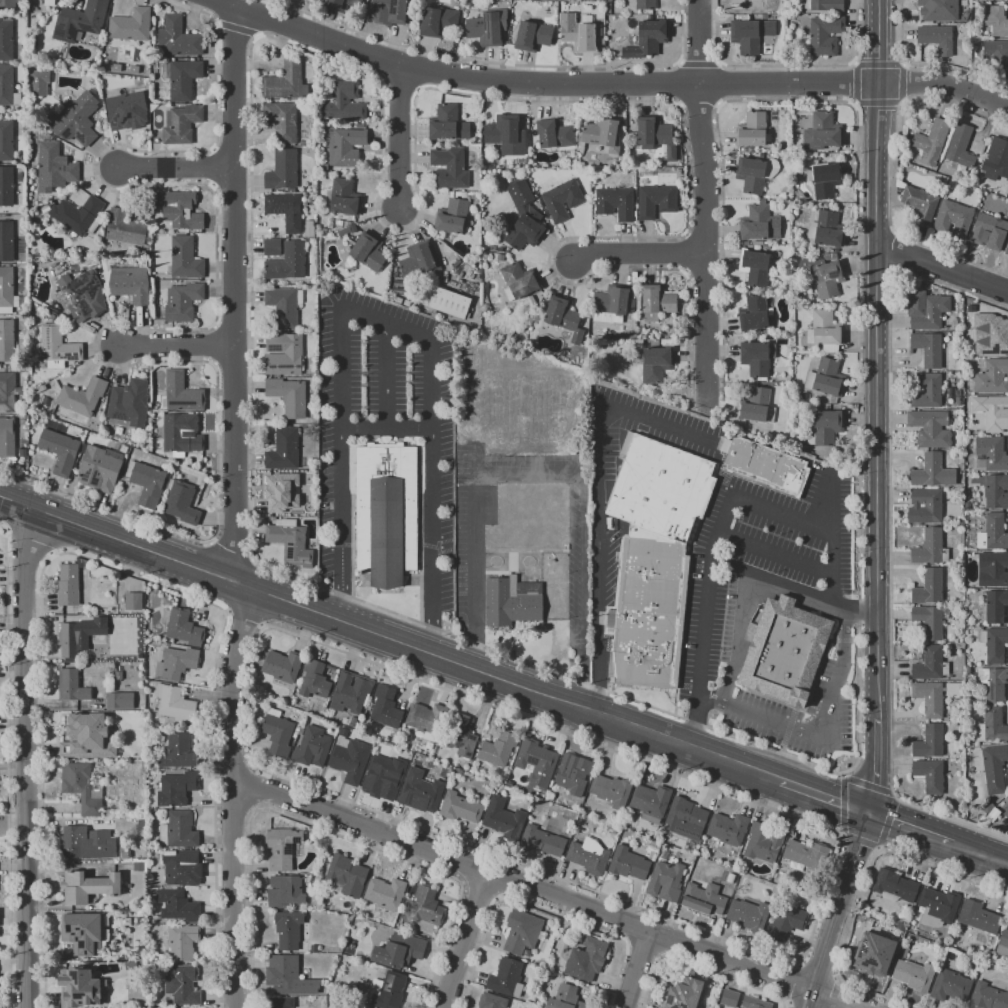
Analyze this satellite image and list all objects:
building: (49, 2)
building: (10, 4)
building: (342, 4)
building: (645, 5)
building: (745, 5)
building: (826, 5)
building: (939, 10)
building: (394, 11)
building: (994, 20)
building: (79, 22)
building: (441, 24)
building: (132, 27)
building: (487, 31)
building: (578, 33)
building: (750, 35)
building: (824, 35)
building: (532, 36)
building: (647, 39)
building: (936, 39)
building: (181, 40)
building: (7, 41)
building: (996, 49)
building: (186, 81)
building: (289, 82)
road: (604, 84)
building: (43, 85)
building: (9, 87)
building: (346, 104)
building: (126, 108)
building: (80, 122)
building: (285, 122)
building: (184, 126)
building: (450, 126)
building: (752, 130)
building: (825, 130)
building: (502, 132)
building: (602, 134)
building: (554, 135)
building: (654, 135)
building: (931, 141)
road: (405, 142)
building: (8, 143)
building: (960, 146)
building: (346, 147)
building: (998, 163)
building: (57, 167)
building: (453, 168)
road: (176, 171)
building: (285, 172)
building: (750, 175)
building: (824, 179)
building: (8, 188)
building: (347, 199)
building: (562, 199)
building: (656, 201)
building: (614, 203)
building: (920, 204)
road: (704, 207)
building: (288, 211)
building: (184, 213)
building: (81, 217)
building: (523, 217)
building: (454, 218)
building: (953, 219)
building: (759, 223)
building: (828, 229)
building: (128, 230)
building: (988, 231)
building: (315, 232)
building: (347, 233)
building: (7, 243)
building: (274, 248)
building: (498, 249)
building: (1006, 250)
building: (371, 254)
building: (500, 258)
road: (637, 258)
building: (188, 260)
building: (422, 262)
building: (290, 264)
building: (755, 268)
road: (941, 269)
building: (60, 271)
building: (823, 276)
building: (517, 281)
building: (133, 286)
building: (8, 290)
building: (81, 294)
road: (237, 297)
building: (656, 302)
building: (185, 304)
building: (612, 304)
building: (452, 305)
building: (286, 308)
building: (970, 308)
building: (753, 313)
building: (932, 313)
building: (564, 317)
road: (388, 322)
building: (824, 331)
building: (990, 335)
building: (8, 342)
road: (177, 346)
building: (60, 349)
building: (927, 349)
building: (286, 355)
building: (756, 358)
building: (655, 365)
building: (992, 376)
building: (828, 377)
building: (926, 391)
building: (9, 394)
building: (184, 395)
building: (85, 398)
building: (291, 398)
building: (449, 404)
building: (758, 407)
road: (875, 407)
building: (128, 409)
building: (992, 412)
building: (827, 427)
building: (929, 428)
building: (8, 439)
building: (183, 439)
building: (286, 451)
building: (62, 452)
building: (992, 453)
building: (765, 467)
building: (102, 471)
road: (547, 472)
road: (715, 472)
building: (932, 472)
building: (149, 484)
building: (289, 491)
building: (996, 491)
building: (183, 504)
road: (104, 505)
building: (924, 506)
road: (833, 507)
road: (595, 511)
building: (383, 514)
building: (993, 532)
building: (293, 544)
building: (930, 548)
road: (776, 554)
road: (230, 555)
building: (653, 557)
road: (711, 567)
road: (113, 568)
road: (833, 569)
building: (992, 569)
building: (68, 585)
building: (929, 588)
road: (792, 589)
building: (133, 601)
building: (511, 602)
building: (996, 606)
road: (298, 609)
road: (244, 615)
building: (930, 621)
building: (184, 628)
parking lot: (717, 629)
building: (79, 637)
road: (741, 639)
building: (994, 644)
building: (784, 651)
building: (176, 663)
building: (930, 664)
building: (282, 666)
road: (550, 670)
building: (315, 680)
building: (993, 683)
building: (71, 686)
building: (953, 690)
building: (351, 693)
building: (929, 698)
building: (120, 700)
building: (175, 704)
building: (386, 707)
building: (427, 718)
building: (991, 726)
building: (278, 733)
road: (817, 733)
building: (460, 735)
building: (87, 737)
building: (930, 742)
road: (249, 746)
building: (313, 747)
building: (499, 749)
building: (178, 751)
road: (25, 759)
building: (350, 760)
road: (232, 761)
building: (536, 762)
road: (8, 764)
road: (735, 764)
building: (991, 767)
building: (573, 774)
building: (930, 775)
building: (384, 778)
road: (871, 783)
building: (84, 787)
building: (177, 788)
road: (259, 788)
building: (612, 790)
building: (421, 792)
road: (233, 798)
building: (651, 802)
building: (1007, 805)
building: (460, 808)
building: (1006, 812)
traffic signals: (872, 814)
building: (992, 815)
road: (232, 816)
building: (504, 818)
road: (949, 818)
building: (686, 819)
building: (142, 825)
road: (911, 828)
building: (728, 829)
building: (179, 830)
road: (325, 830)
building: (542, 841)
building: (87, 843)
building: (764, 843)
road: (859, 843)
building: (283, 847)
building: (125, 853)
road: (979, 853)
building: (807, 854)
building: (589, 856)
building: (629, 864)
building: (140, 865)
building: (182, 868)
building: (347, 876)
building: (730, 878)
building: (666, 881)
road: (523, 884)
building: (895, 886)
building: (89, 887)
road: (863, 888)
road: (479, 891)
building: (285, 892)
building: (727, 892)
building: (385, 893)
building: (704, 899)
building: (177, 906)
building: (938, 907)
road: (539, 909)
building: (427, 910)
road: (837, 910)
building: (749, 915)
building: (979, 917)
building: (786, 923)
road: (628, 924)
building: (901, 926)
building: (290, 930)
building: (523, 932)
building: (84, 933)
road: (663, 937)
road: (465, 939)
building: (182, 942)
building: (1003, 943)
building: (399, 950)
building: (989, 950)
road: (641, 953)
building: (587, 959)
road: (703, 967)
road: (637, 969)
road: (818, 971)
building: (914, 975)
building: (288, 976)
building: (507, 978)
road: (791, 983)
building: (182, 985)
building: (715, 986)
building: (950, 986)
building: (80, 988)
building: (390, 991)
road: (832, 992)
building: (684, 994)
building: (988, 997)
building: (566, 998)
building: (729, 998)
road: (836, 999)
building: (492, 1001)
building: (282, 1002)
building: (755, 1003)
road: (792, 1006)

